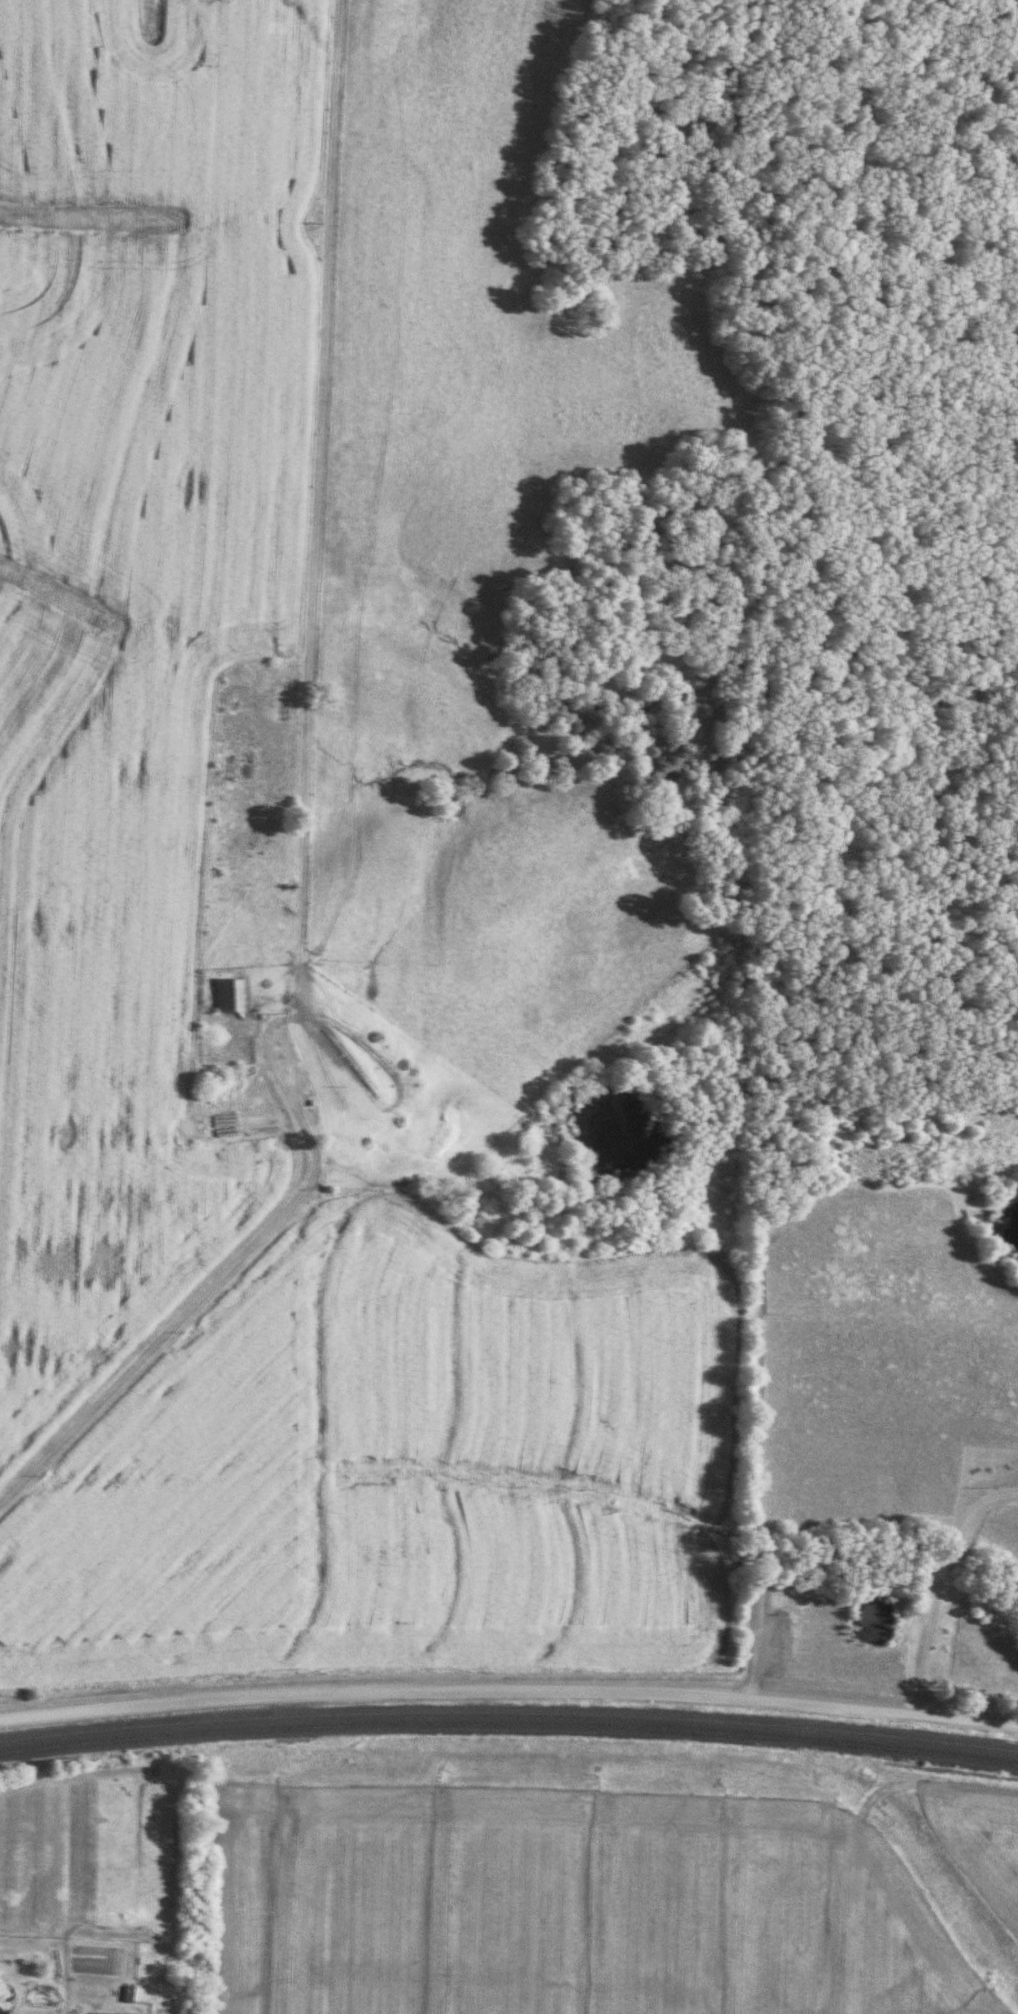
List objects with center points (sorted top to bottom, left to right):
building: (225, 995)
road: (168, 1327)
road: (933, 1580)
road: (509, 1690)
railway: (509, 1711)
railway: (509, 1724)

